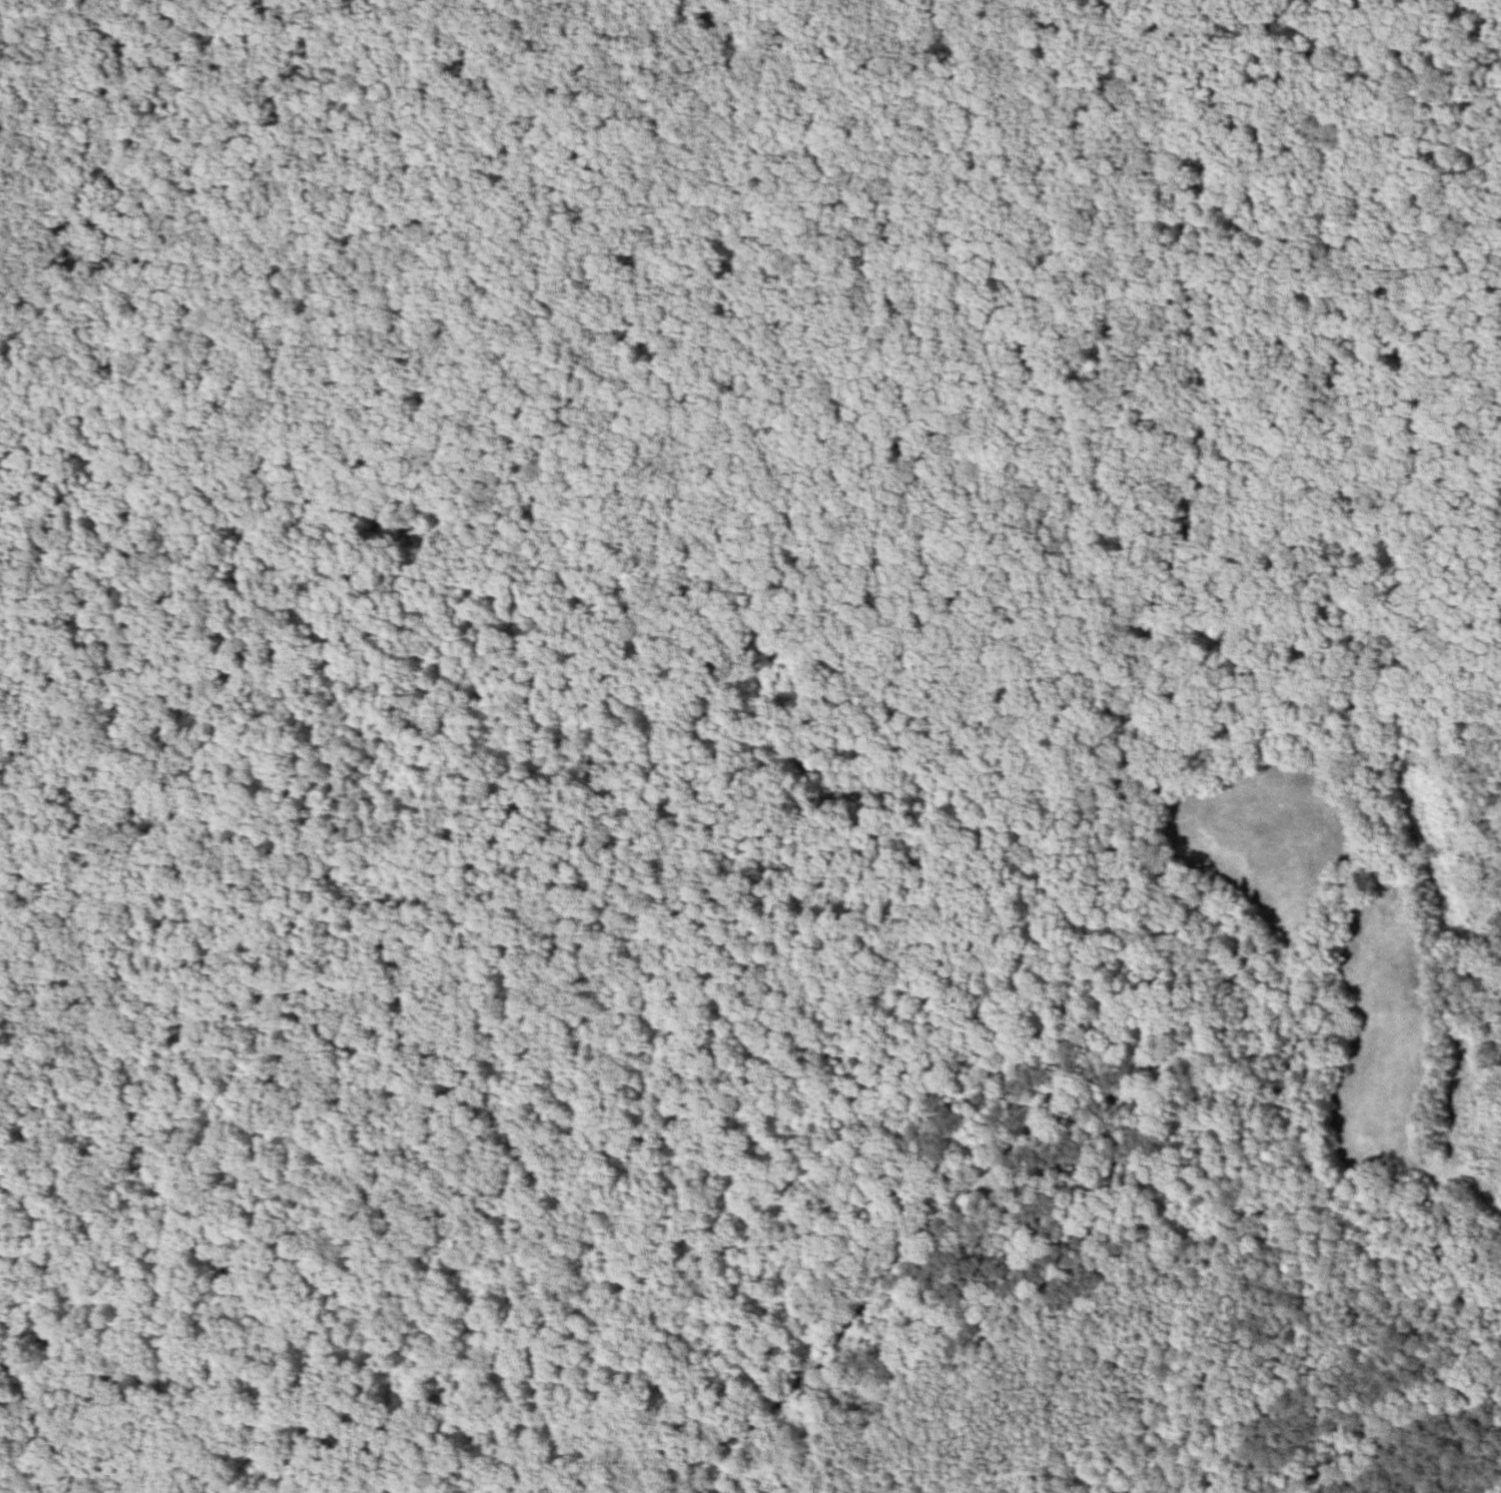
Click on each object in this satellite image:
road: (1120, 824)

